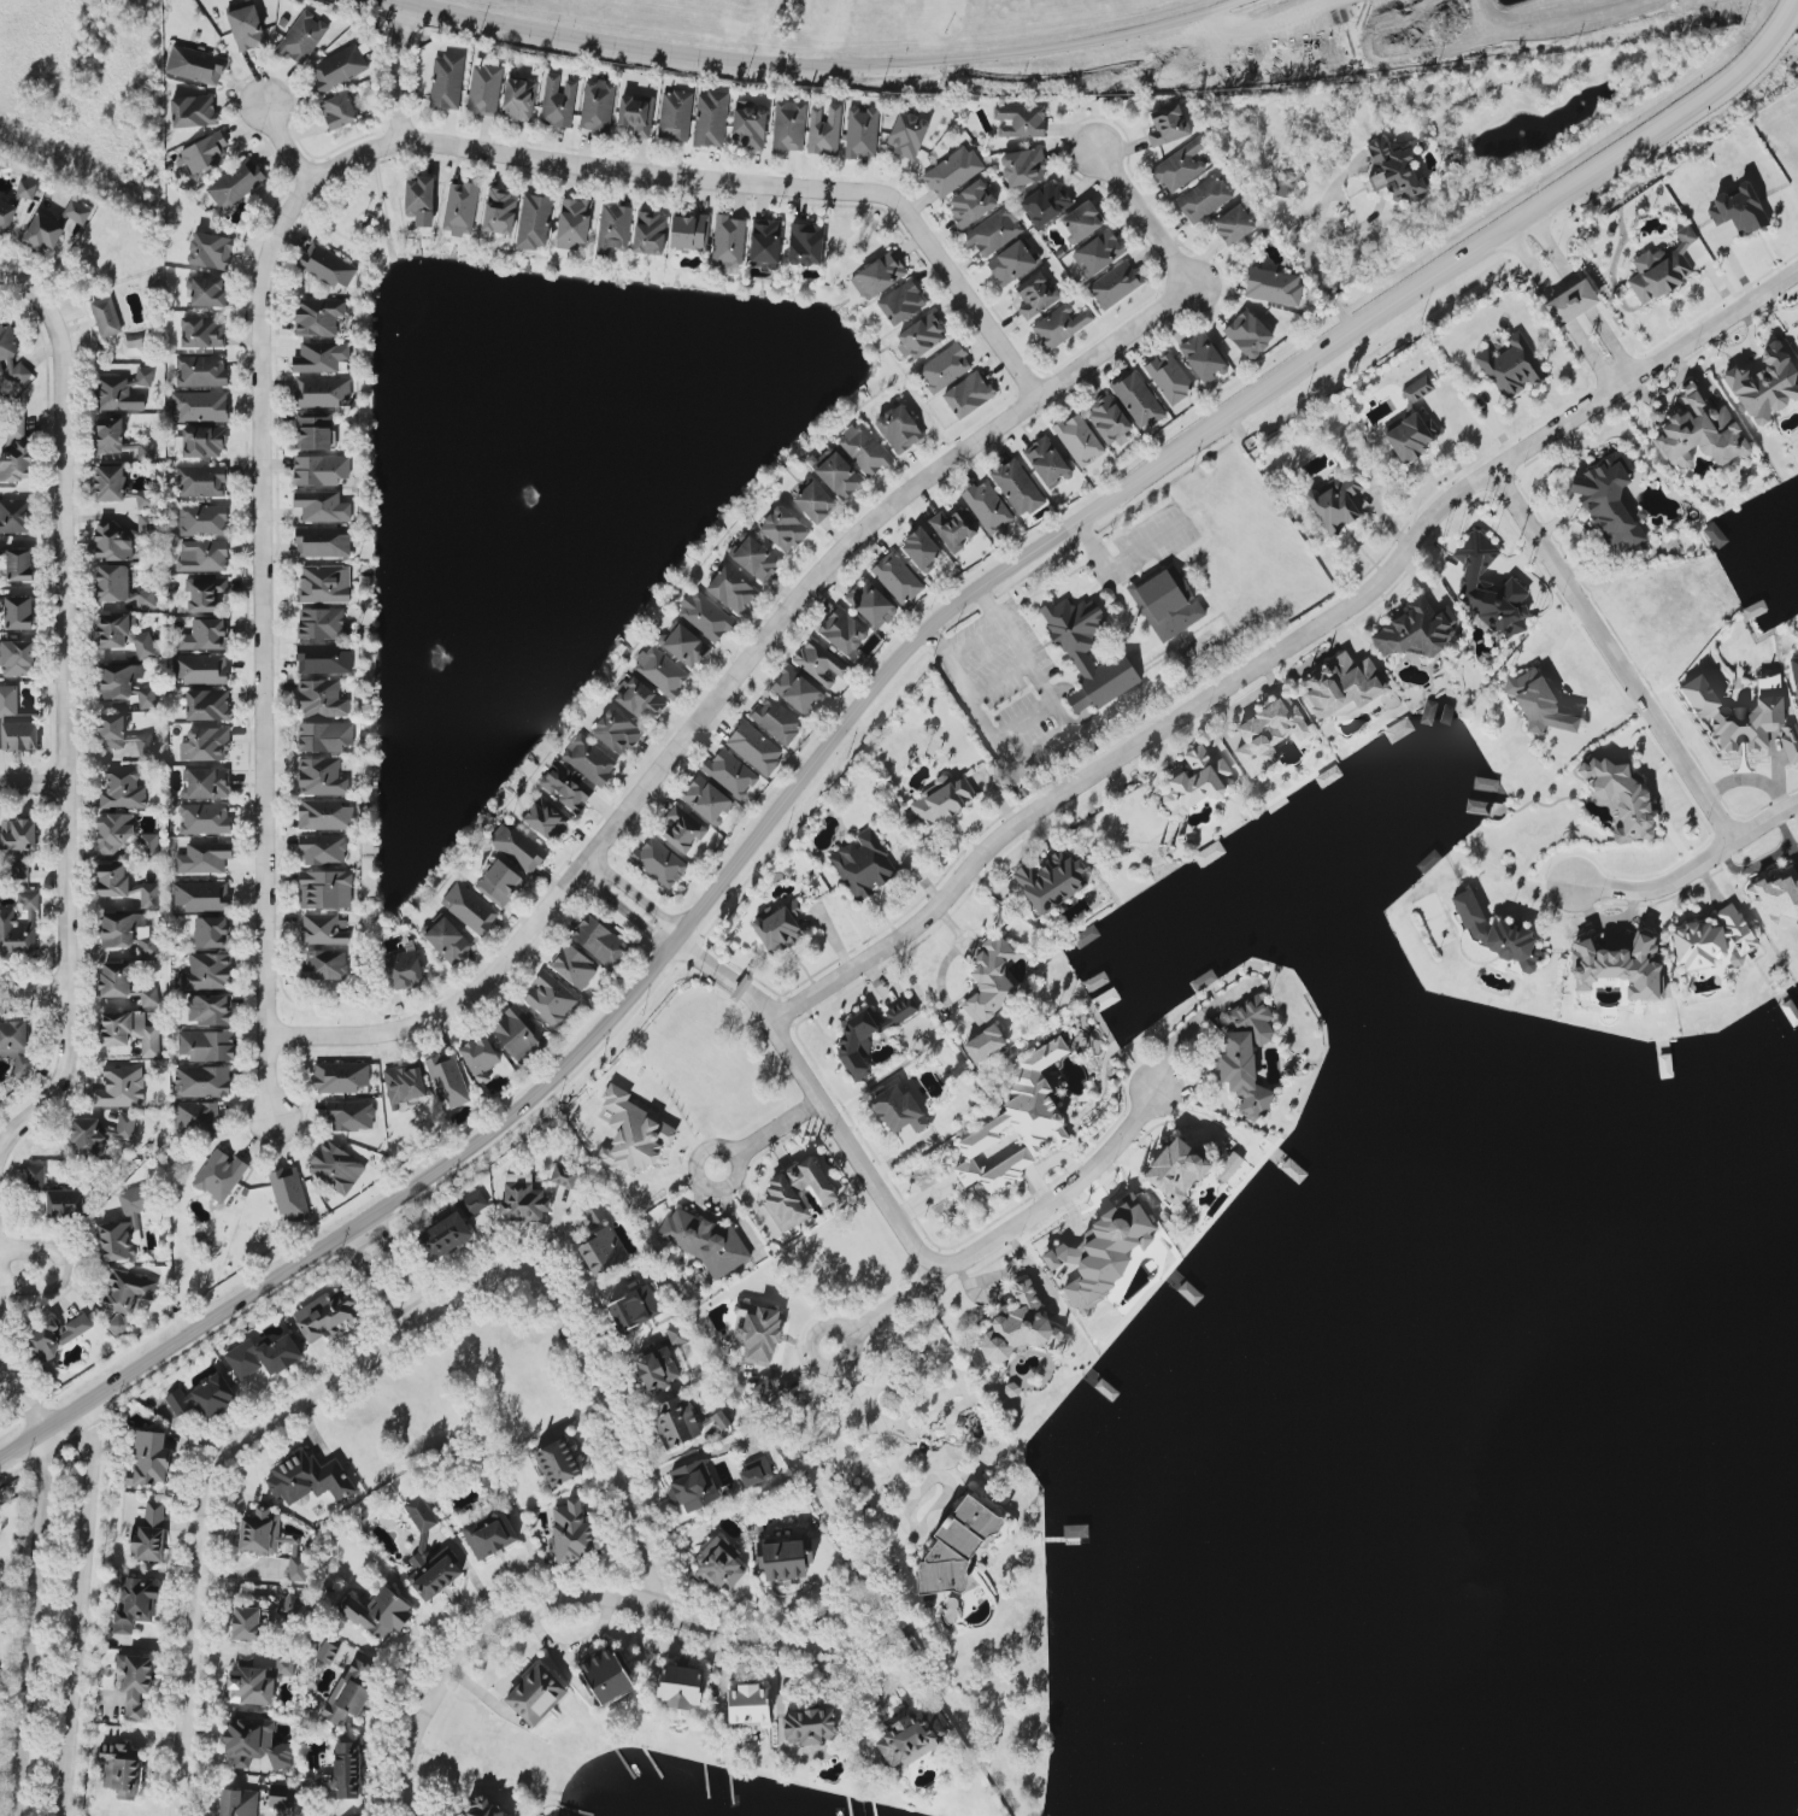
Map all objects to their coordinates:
building: (246, 28)
building: (302, 37)
building: (194, 64)
building: (337, 67)
road: (859, 71)
road: (395, 78)
building: (446, 81)
building: (484, 88)
building: (518, 99)
building: (557, 100)
building: (597, 105)
building: (192, 111)
building: (337, 111)
building: (636, 113)
building: (675, 114)
building: (710, 118)
building: (1020, 121)
building: (1167, 125)
building: (788, 127)
building: (748, 128)
building: (823, 129)
building: (860, 131)
building: (906, 135)
road: (288, 147)
building: (202, 154)
building: (1180, 165)
building: (1023, 166)
building: (1393, 170)
building: (952, 171)
building: (235, 183)
road: (713, 188)
building: (419, 198)
building: (1203, 198)
building: (971, 202)
building: (1045, 202)
building: (14, 206)
building: (460, 207)
building: (1738, 208)
building: (77, 211)
building: (499, 211)
road: (1146, 219)
building: (534, 221)
building: (1082, 221)
building: (574, 223)
building: (1233, 224)
building: (613, 228)
building: (48, 230)
building: (648, 231)
building: (689, 231)
building: (993, 231)
building: (765, 241)
building: (728, 242)
building: (805, 243)
building: (210, 249)
road: (1311, 252)
building: (1098, 253)
building: (1013, 260)
road: (1734, 263)
building: (327, 265)
building: (1662, 269)
building: (879, 275)
building: (1115, 284)
building: (1273, 286)
building: (207, 292)
building: (1035, 294)
road: (1581, 296)
road: (40, 299)
building: (901, 302)
building: (1570, 302)
road: (1556, 313)
building: (105, 317)
building: (317, 317)
building: (1797, 322)
building: (1059, 325)
building: (201, 331)
building: (1248, 334)
building: (919, 336)
building: (11, 355)
building: (319, 357)
building: (1203, 357)
building: (1512, 366)
building: (944, 368)
building: (200, 370)
building: (1169, 377)
building: (1765, 384)
building: (1417, 388)
building: (122, 390)
building: (322, 392)
building: (968, 394)
building: (1138, 400)
building: (199, 406)
building: (1107, 421)
building: (898, 428)
building: (315, 431)
building: (1699, 433)
building: (1411, 435)
building: (117, 440)
building: (1077, 440)
building: (202, 441)
building: (864, 449)
building: (16, 456)
building: (1046, 462)
building: (321, 469)
building: (839, 475)
building: (200, 481)
building: (118, 487)
building: (1017, 487)
building: (815, 501)
building: (1609, 501)
building: (1334, 503)
building: (322, 506)
building: (987, 506)
building: (14, 515)
building: (204, 519)
building: (783, 528)
building: (953, 529)
building: (1715, 534)
building: (113, 541)
building: (322, 542)
building: (921, 549)
building: (201, 556)
building: (756, 558)
building: (18, 563)
building: (897, 577)
building: (324, 583)
building: (122, 588)
building: (1488, 588)
building: (730, 589)
building: (204, 593)
building: (1167, 603)
building: (871, 604)
building: (18, 612)
building: (705, 616)
building: (319, 623)
building: (842, 631)
building: (1415, 631)
building: (122, 634)
building: (204, 634)
road: (1291, 643)
building: (686, 646)
road: (260, 647)
road: (1612, 654)
building: (17, 658)
building: (322, 659)
building: (1077, 660)
building: (821, 664)
building: (199, 669)
building: (1793, 670)
building: (660, 671)
road: (729, 681)
building: (123, 684)
building: (1341, 684)
building: (797, 690)
building: (322, 698)
road: (870, 699)
building: (640, 700)
building: (1539, 703)
building: (207, 704)
building: (1427, 711)
road: (1028, 716)
building: (776, 719)
building: (16, 722)
building: (1744, 724)
building: (1398, 729)
building: (616, 731)
building: (1268, 734)
building: (122, 735)
building: (324, 736)
building: (204, 744)
building: (753, 747)
road: (63, 759)
building: (589, 759)
building: (730, 774)
building: (1328, 775)
building: (322, 776)
road: (31, 782)
building: (206, 782)
building: (1198, 782)
building: (566, 786)
building: (122, 788)
building: (1621, 794)
building: (706, 799)
building: (942, 801)
building: (325, 813)
building: (204, 818)
building: (546, 821)
building: (683, 829)
building: (116, 831)
building: (18, 834)
building: (148, 845)
building: (518, 847)
building: (322, 848)
building: (1209, 852)
building: (202, 857)
building: (659, 862)
building: (863, 864)
road: (1690, 868)
building: (19, 869)
building: (1051, 881)
building: (499, 882)
building: (123, 888)
building: (325, 888)
building: (201, 895)
road: (634, 895)
building: (1775, 897)
building: (29, 900)
building: (469, 907)
building: (794, 907)
building: (324, 928)
building: (777, 929)
building: (128, 931)
building: (211, 931)
building: (16, 934)
building: (1086, 935)
building: (1492, 936)
building: (598, 939)
building: (447, 940)
building: (1714, 940)
building: (324, 964)
building: (574, 966)
building: (1620, 966)
building: (404, 968)
building: (206, 971)
road: (730, 977)
building: (989, 978)
building: (123, 983)
road: (34, 989)
building: (551, 999)
building: (208, 1009)
building: (129, 1032)
building: (517, 1033)
road: (1185, 1033)
building: (868, 1034)
building: (983, 1044)
building: (205, 1045)
building: (14, 1047)
building: (1245, 1056)
building: (478, 1058)
building: (340, 1076)
building: (447, 1080)
building: (201, 1081)
building: (404, 1085)
building: (119, 1087)
building: (898, 1110)
building: (351, 1115)
building: (195, 1116)
building: (1017, 1124)
road: (777, 1128)
building: (633, 1134)
road: (852, 1150)
road: (733, 1154)
building: (335, 1166)
building: (1228, 1166)
building: (1180, 1168)
building: (218, 1175)
building: (563, 1176)
building: (35, 1177)
building: (795, 1193)
building: (287, 1198)
building: (522, 1198)
building: (64, 1203)
building: (472, 1203)
road: (1064, 1205)
building: (124, 1226)
building: (443, 1236)
building: (704, 1241)
building: (601, 1251)
building: (1101, 1253)
road: (67, 1263)
road: (401, 1267)
road: (376, 1285)
building: (125, 1291)
road: (891, 1304)
building: (634, 1307)
building: (328, 1315)
building: (1018, 1323)
building: (758, 1330)
road: (847, 1334)
building: (57, 1335)
building: (263, 1356)
building: (654, 1367)
road: (23, 1388)
building: (771, 1391)
building: (213, 1394)
building: (177, 1401)
building: (684, 1422)
road: (607, 1424)
road: (96, 1429)
building: (148, 1458)
building: (558, 1462)
road: (681, 1462)
road: (211, 1469)
building: (754, 1470)
road: (898, 1470)
building: (307, 1477)
building: (692, 1485)
building: (419, 1512)
building: (571, 1532)
building: (149, 1533)
building: (490, 1535)
building: (271, 1539)
building: (957, 1548)
building: (786, 1558)
building: (718, 1564)
building: (431, 1570)
road: (547, 1602)
building: (135, 1604)
building: (289, 1606)
road: (81, 1608)
building: (378, 1612)
building: (249, 1622)
road: (30, 1623)
road: (816, 1634)
building: (327, 1652)
building: (605, 1674)
road: (893, 1677)
building: (255, 1681)
building: (135, 1683)
building: (680, 1686)
building: (347, 1694)
building: (535, 1694)
building: (748, 1704)
building: (810, 1726)
building: (910, 1738)
building: (254, 1744)
building: (121, 1768)
building: (346, 1769)
building: (237, 1803)
building: (478, 1808)

